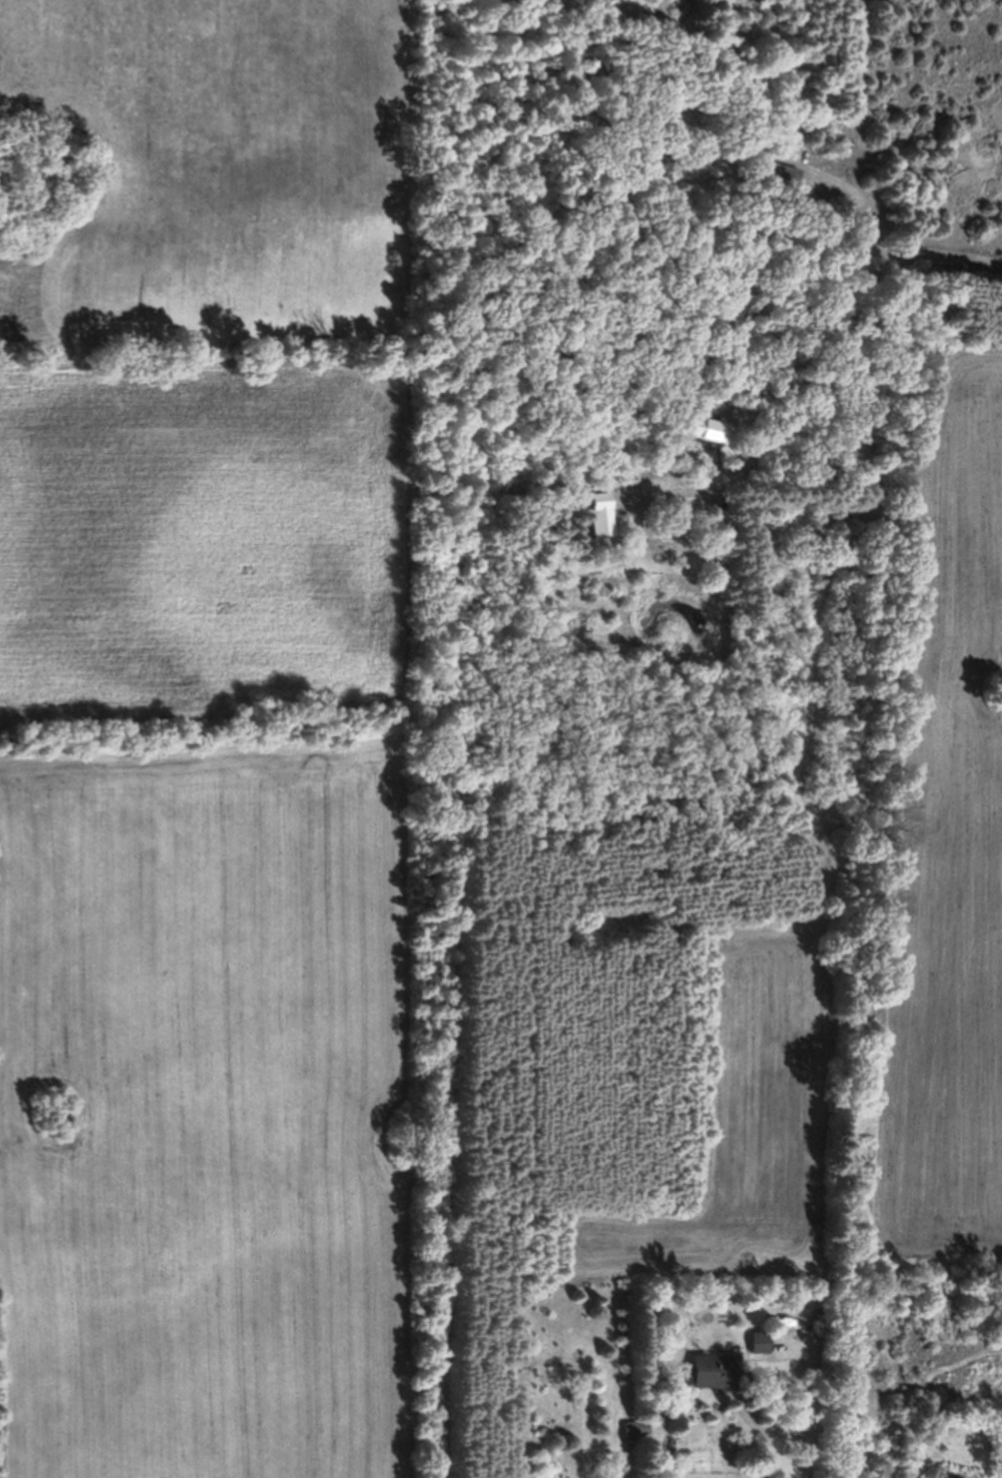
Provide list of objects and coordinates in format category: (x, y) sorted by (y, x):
road: (729, 283)
building: (598, 524)
building: (757, 1351)
building: (715, 1379)

